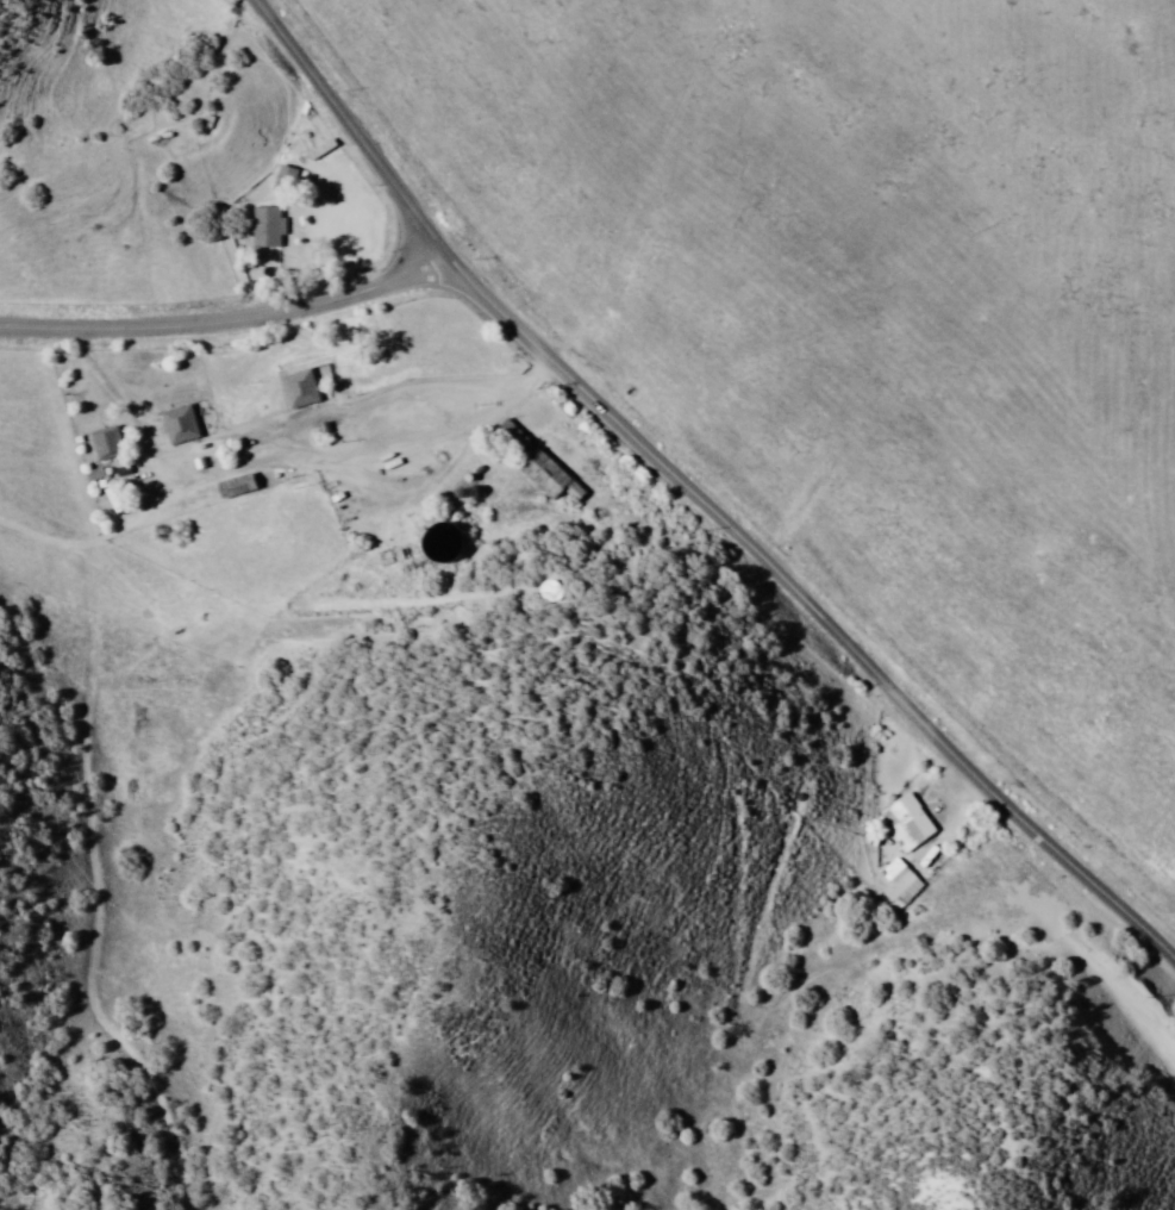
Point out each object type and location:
road: (356, 141)
building: (282, 177)
building: (267, 224)
crop: (870, 318)
road: (233, 326)
building: (286, 385)
building: (300, 389)
road: (363, 406)
road: (126, 411)
building: (183, 419)
building: (165, 420)
building: (102, 443)
building: (539, 473)
building: (244, 499)
road: (99, 538)
road: (820, 623)
building: (894, 818)
building: (919, 827)
building: (886, 880)
road: (96, 890)

